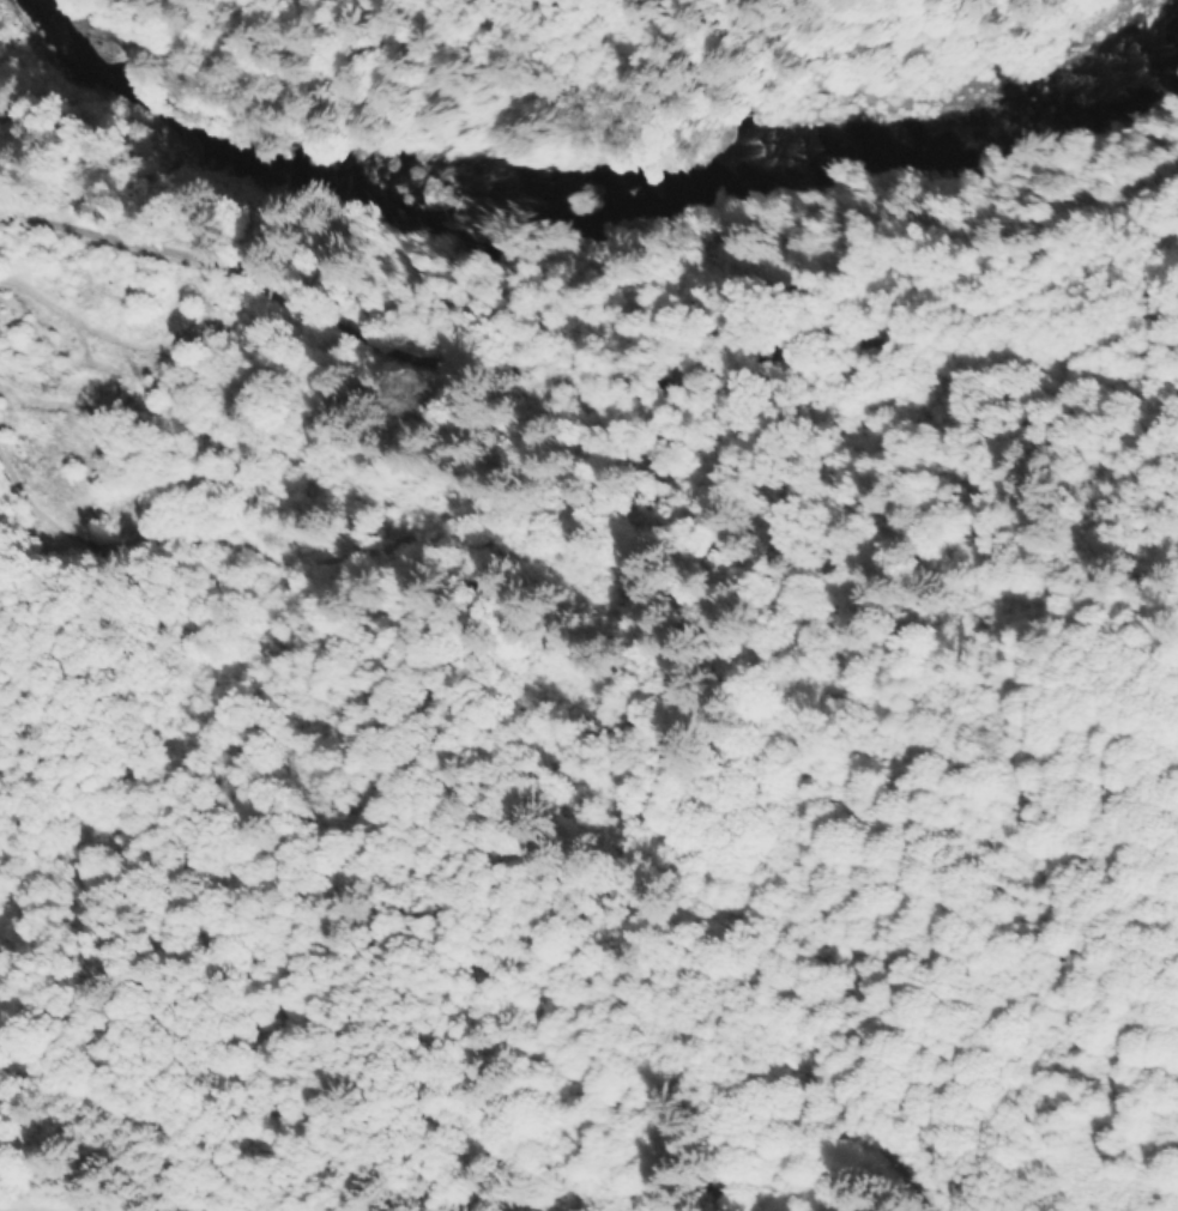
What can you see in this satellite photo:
river: (586, 208)
road: (570, 375)

